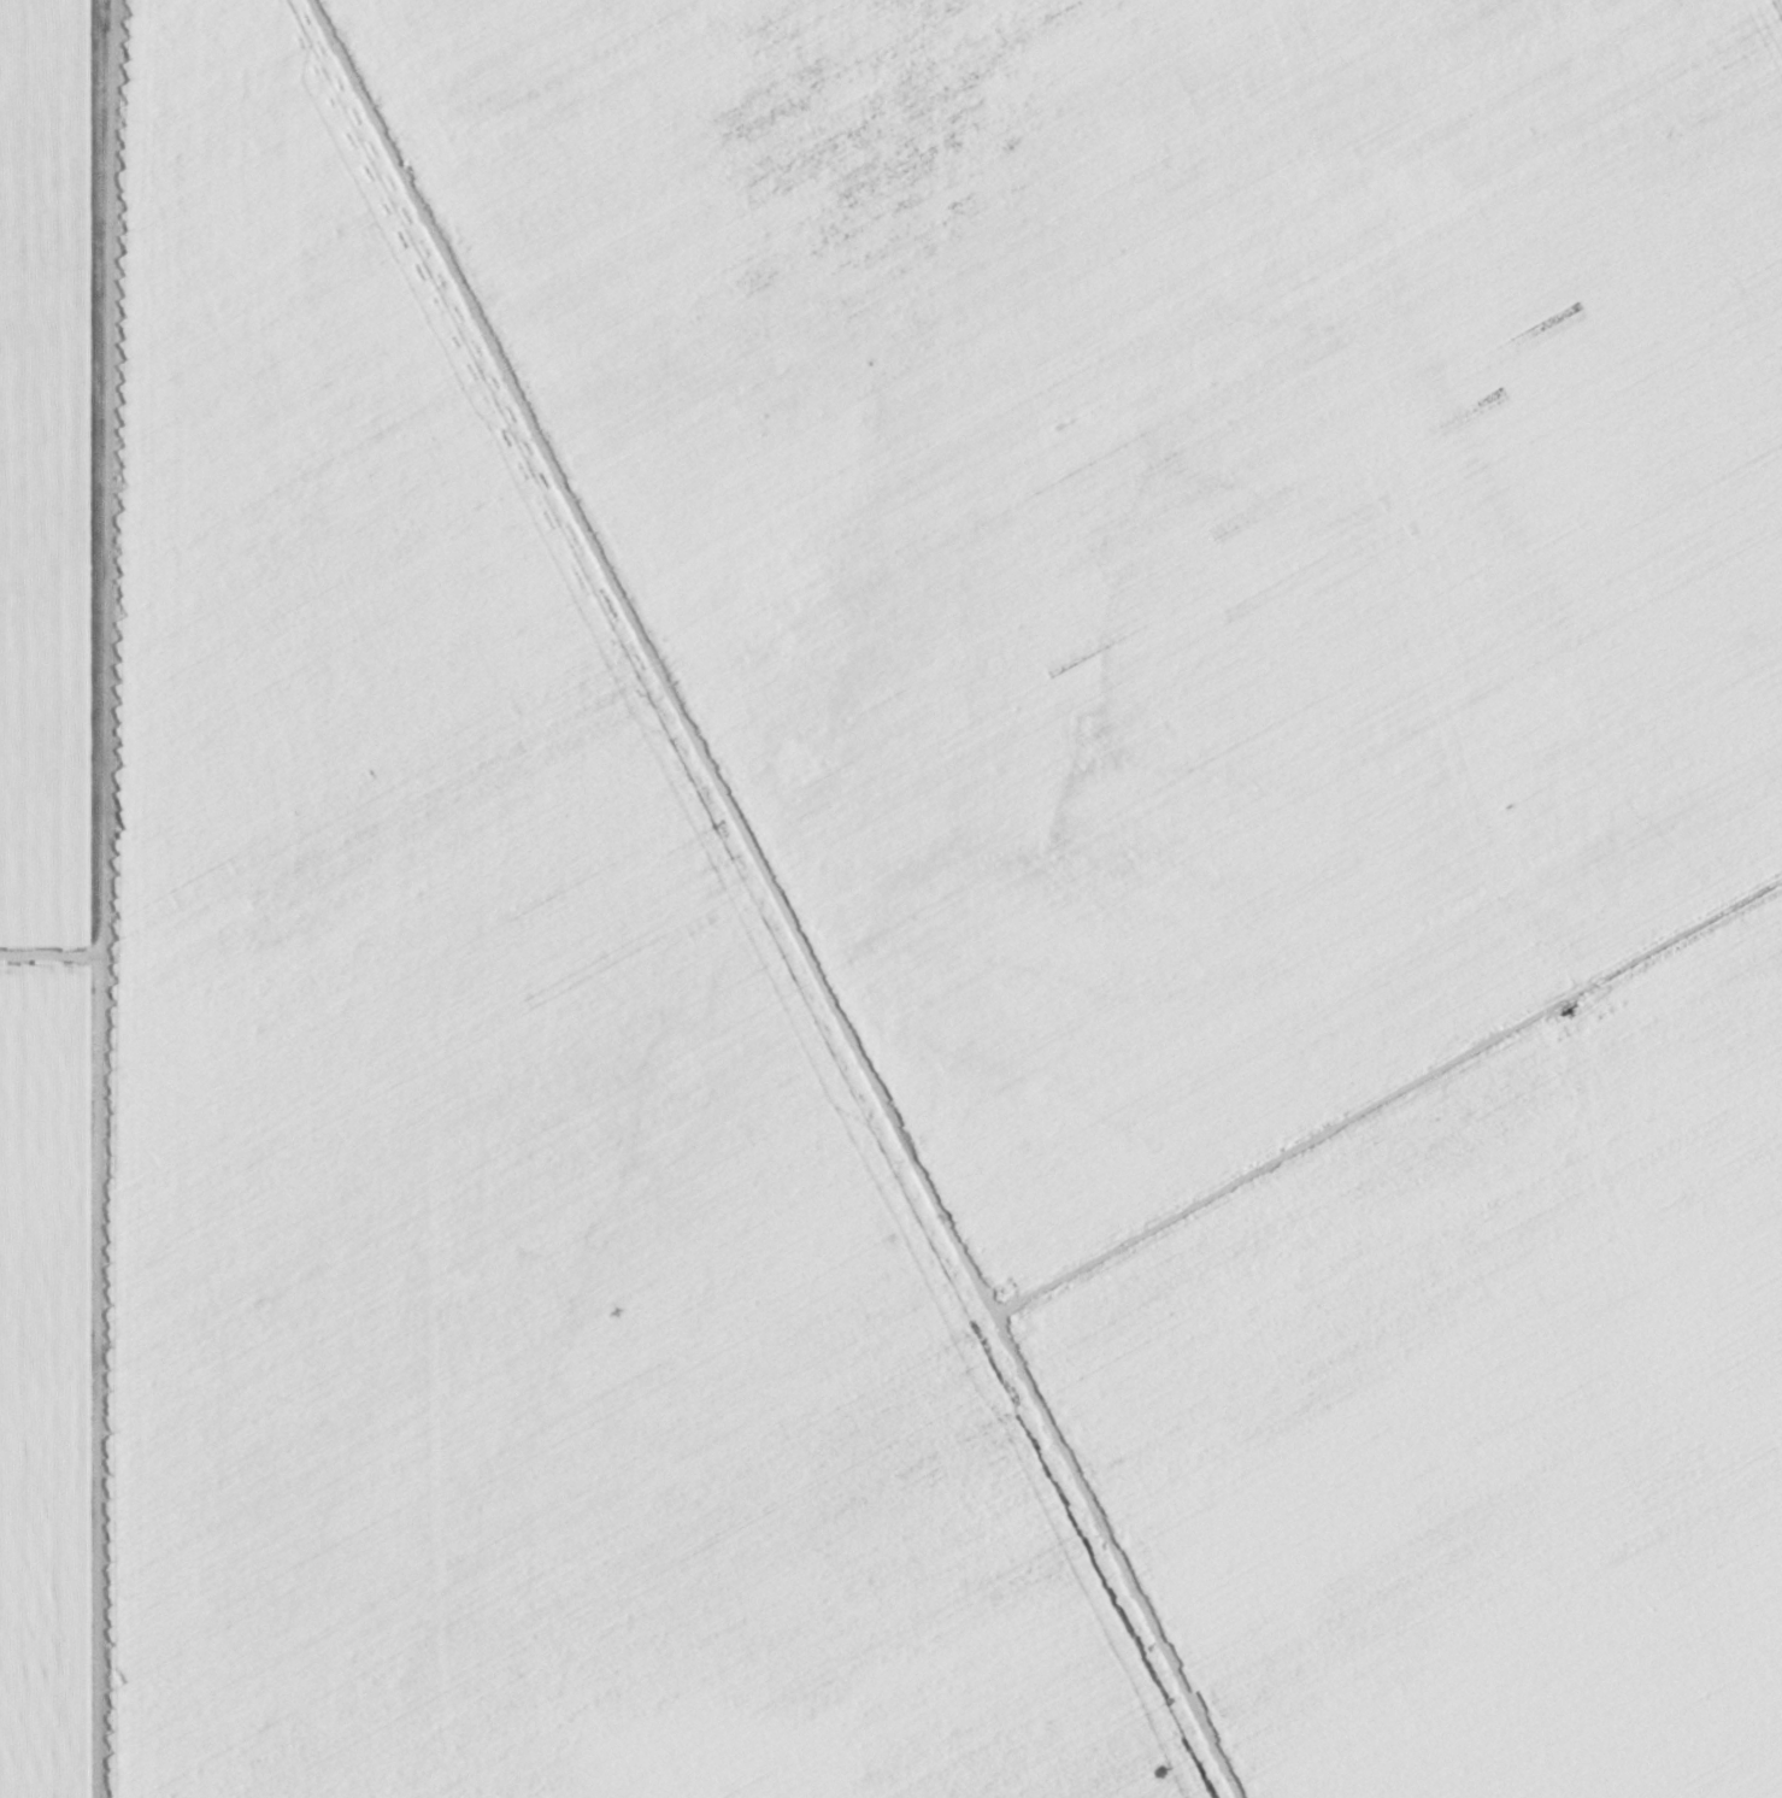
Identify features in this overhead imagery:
road: (1586, 428)
road: (1502, 862)
road: (101, 899)

